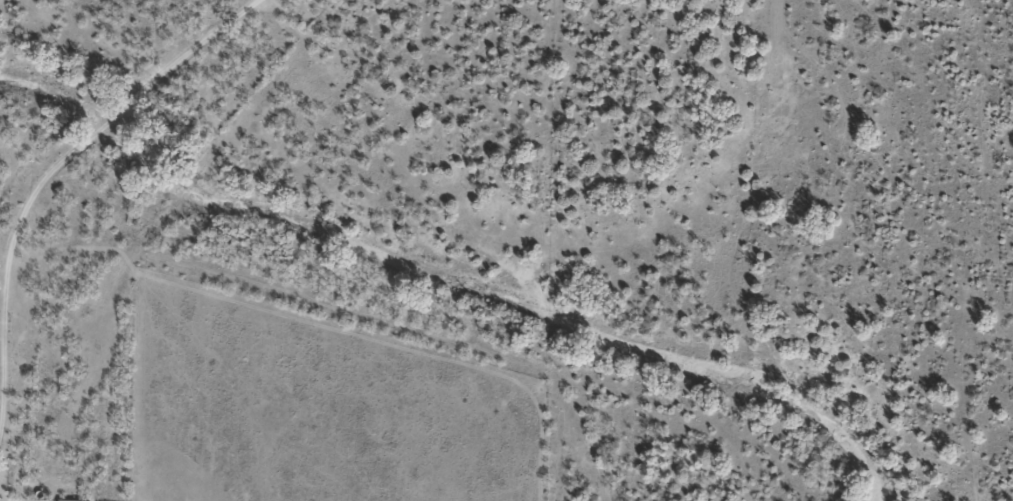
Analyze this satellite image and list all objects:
road: (55, 179)
road: (13, 478)

